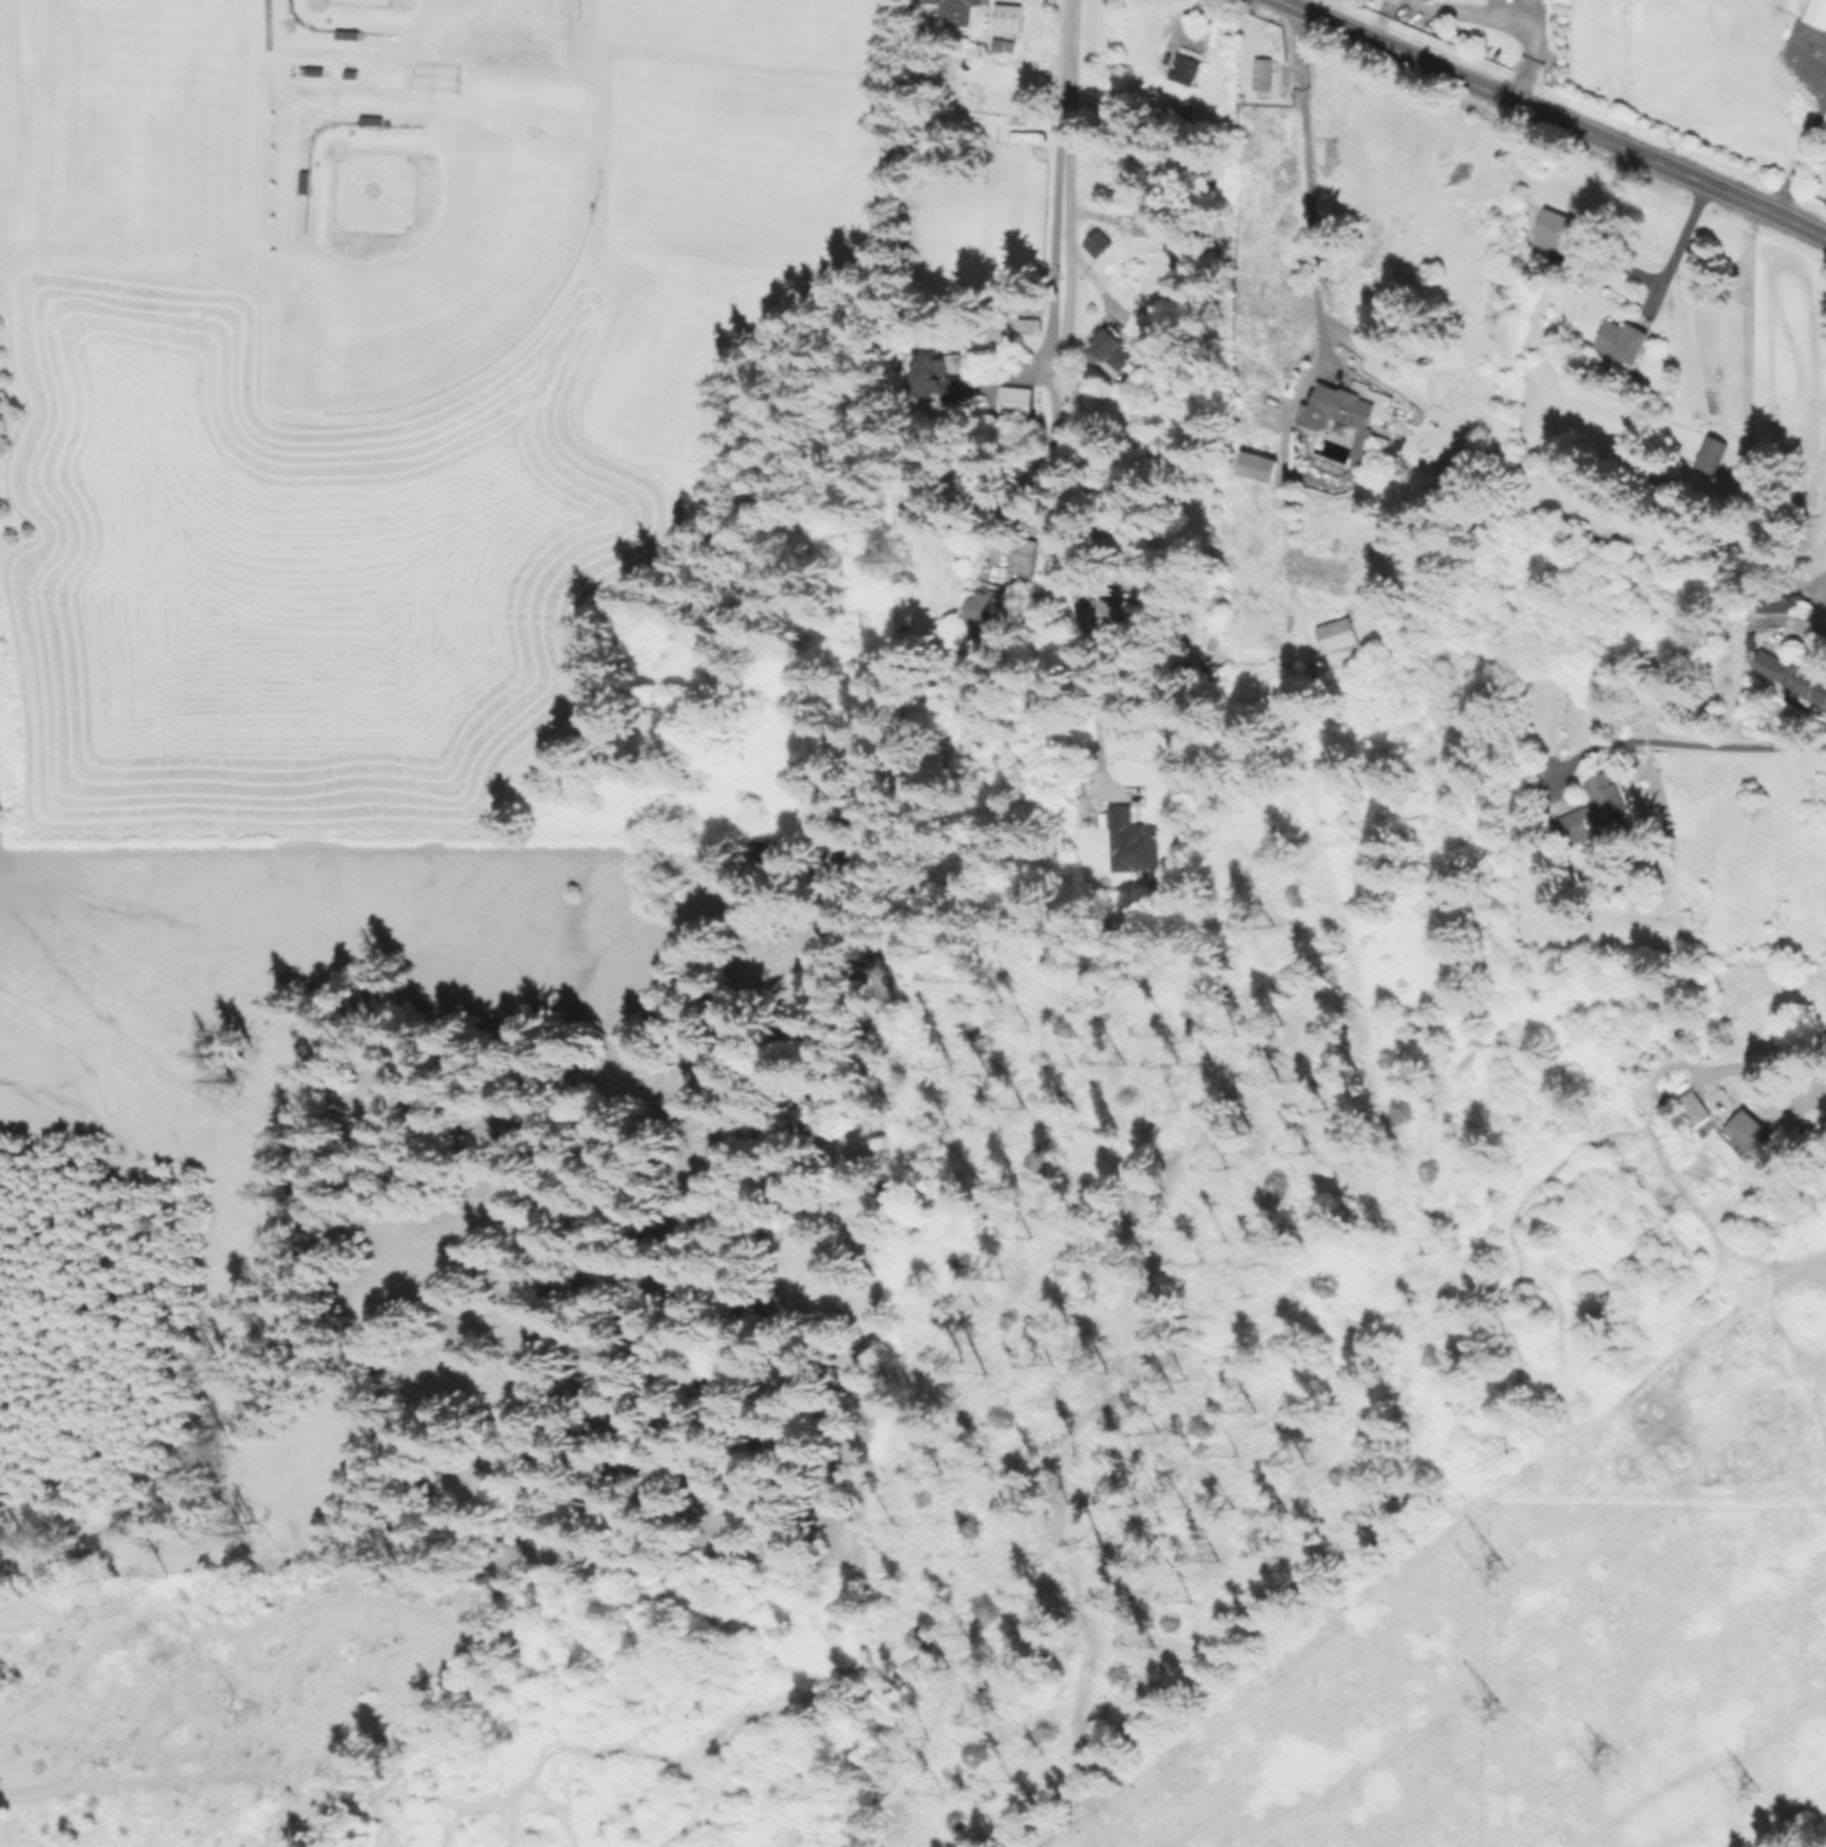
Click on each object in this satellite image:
building: (956, 11)
building: (1818, 12)
park: (454, 13)
road: (1510, 22)
building: (1005, 25)
building: (1221, 27)
building: (348, 34)
building: (1173, 66)
building: (316, 72)
building: (351, 74)
building: (1262, 74)
building: (1178, 107)
road: (1553, 117)
building: (372, 121)
park: (139, 122)
road: (1795, 140)
road: (1306, 176)
building: (304, 182)
building: (1149, 230)
building: (1556, 230)
park: (434, 235)
road: (1069, 239)
building: (1098, 244)
road: (1682, 249)
building: (1031, 325)
building: (1622, 344)
building: (1112, 347)
building: (944, 379)
road: (1056, 385)
building: (1016, 402)
building: (1344, 407)
building: (1798, 425)
building: (1358, 443)
building: (1711, 454)
building: (1260, 466)
building: (1023, 555)
building: (1775, 602)
building: (1118, 613)
road: (1810, 616)
building: (986, 620)
building: (1337, 635)
building: (1790, 673)
road: (1686, 743)
building: (1597, 811)
building: (1132, 841)
building: (1687, 917)
road: (1813, 1088)
building: (1723, 1100)
building: (1691, 1106)
building: (1798, 1129)
building: (1749, 1134)
power tower: (1489, 1571)
power tower: (1489, 1706)
power tower: (1606, 1764)
power tower: (1742, 1801)

